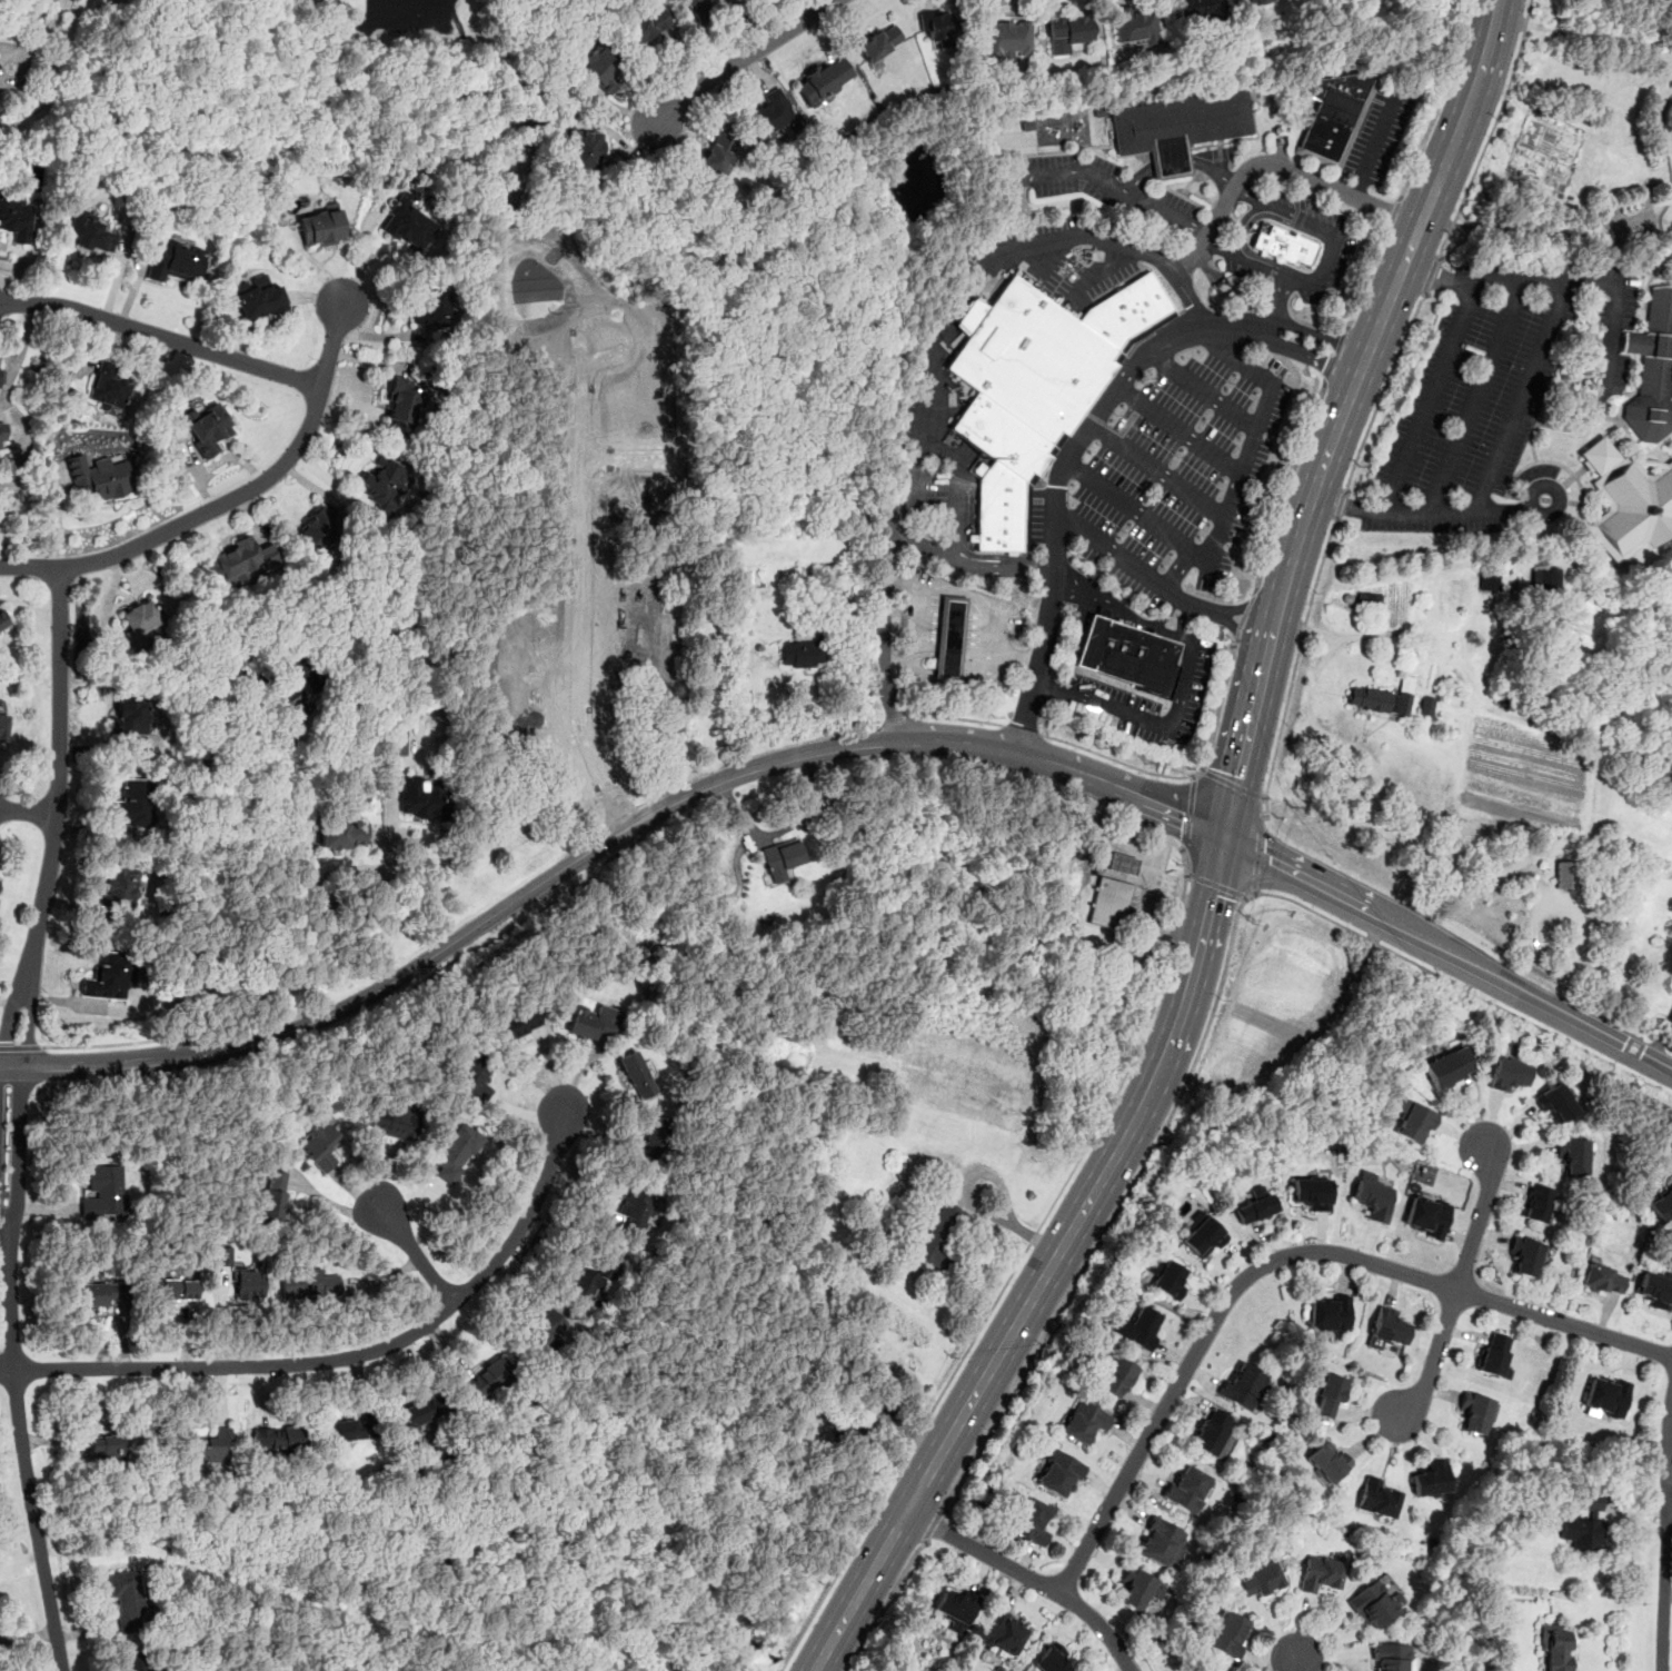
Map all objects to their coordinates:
building: (1253, 0)
building: (697, 8)
building: (1202, 9)
building: (645, 23)
building: (935, 26)
building: (1133, 26)
building: (1068, 31)
road: (46, 34)
building: (1006, 41)
building: (879, 42)
road: (737, 61)
building: (603, 66)
building: (824, 79)
road: (1440, 100)
building: (0, 107)
building: (1334, 110)
building: (772, 112)
building: (1183, 121)
road: (1491, 131)
road: (1375, 141)
building: (585, 149)
building: (718, 151)
road: (1177, 159)
building: (1172, 161)
road: (1277, 161)
road: (1076, 172)
road: (1026, 209)
road: (1394, 211)
road: (1165, 212)
building: (14, 218)
building: (408, 225)
building: (321, 227)
road: (1246, 229)
building: (88, 232)
building: (1283, 245)
building: (177, 262)
road: (1325, 263)
road: (1095, 271)
road: (1369, 276)
road: (1433, 276)
road: (1436, 276)
road: (1395, 285)
building: (261, 298)
road: (1274, 304)
building: (432, 307)
building: (1126, 310)
road: (1614, 310)
road: (1206, 324)
road: (1317, 334)
road: (162, 337)
road: (1336, 354)
road: (1308, 356)
building: (1029, 360)
building: (1652, 368)
road: (929, 370)
building: (1, 378)
building: (109, 387)
road: (1203, 390)
road: (1383, 390)
road: (1474, 397)
road: (1425, 398)
building: (402, 401)
road: (1519, 408)
building: (207, 427)
road: (1180, 430)
building: (2, 436)
road: (1252, 438)
building: (1055, 444)
road: (629, 458)
road: (1160, 469)
building: (1001, 475)
building: (99, 477)
building: (384, 484)
road: (1284, 484)
road: (957, 486)
road: (4, 490)
road: (9, 493)
road: (232, 498)
building: (1628, 500)
road: (1342, 504)
road: (1337, 505)
road: (1054, 506)
road: (1146, 520)
building: (317, 528)
road: (1106, 547)
building: (242, 560)
building: (1545, 577)
building: (1489, 581)
road: (587, 584)
road: (1172, 593)
road: (1261, 597)
building: (1367, 601)
road: (1107, 605)
road: (1202, 608)
road: (1175, 615)
road: (1241, 617)
building: (3, 619)
building: (140, 621)
road: (1274, 626)
road: (878, 634)
building: (949, 638)
road: (1247, 646)
building: (802, 653)
building: (1129, 654)
road: (1296, 657)
building: (303, 670)
building: (549, 686)
building: (289, 695)
building: (1382, 698)
building: (1426, 706)
building: (130, 713)
road: (1215, 713)
building: (2, 724)
road: (1157, 726)
building: (397, 740)
road: (1357, 752)
road: (1116, 759)
road: (1243, 759)
road: (1232, 782)
road: (686, 797)
building: (420, 799)
building: (135, 802)
road: (1264, 806)
road: (28, 810)
road: (1186, 812)
road: (203, 817)
road: (56, 819)
building: (341, 833)
traffic signals: (1224, 835)
road: (1257, 854)
building: (782, 858)
road: (1151, 861)
road: (1185, 862)
building: (1121, 863)
building: (349, 868)
building: (1566, 876)
building: (119, 886)
road: (1216, 886)
road: (384, 896)
road: (1181, 896)
building: (1109, 904)
gas station: (1109, 904)
road: (1172, 935)
road: (1447, 949)
road: (1400, 956)
building: (109, 975)
building: (593, 1022)
building: (517, 1023)
road: (107, 1044)
road: (21, 1047)
road: (1606, 1063)
road: (94, 1064)
building: (1447, 1067)
building: (1507, 1074)
building: (636, 1075)
building: (475, 1076)
building: (1555, 1102)
building: (1414, 1121)
building: (394, 1122)
building: (654, 1137)
building: (320, 1146)
building: (456, 1153)
building: (1573, 1154)
building: (1312, 1191)
building: (104, 1193)
building: (273, 1194)
building: (1373, 1195)
building: (1537, 1201)
road: (972, 1202)
building: (1256, 1205)
building: (1662, 1206)
road: (1118, 1210)
building: (635, 1211)
building: (1427, 1215)
road: (1477, 1219)
building: (939, 1235)
building: (1204, 1235)
road: (414, 1251)
building: (222, 1255)
building: (1525, 1255)
road: (1281, 1257)
road: (1049, 1265)
building: (1166, 1277)
building: (594, 1279)
building: (1601, 1279)
building: (248, 1283)
building: (309, 1283)
building: (175, 1289)
building: (1656, 1289)
building: (355, 1291)
building: (101, 1293)
building: (1328, 1314)
road: (985, 1317)
building: (1139, 1327)
building: (1386, 1327)
building: (545, 1329)
road: (357, 1354)
road: (1434, 1354)
building: (1494, 1357)
road: (7, 1371)
road: (13, 1371)
building: (1118, 1376)
building: (487, 1377)
building: (1243, 1385)
building: (1327, 1394)
building: (1606, 1394)
building: (422, 1410)
building: (1474, 1411)
building: (1084, 1420)
building: (351, 1429)
building: (1210, 1431)
building: (279, 1436)
building: (106, 1445)
building: (211, 1445)
building: (1327, 1461)
building: (1059, 1472)
building: (1431, 1479)
building: (1186, 1488)
building: (1376, 1498)
building: (1031, 1522)
building: (1585, 1523)
road: (934, 1525)
road: (1665, 1535)
building: (1162, 1541)
building: (1318, 1573)
road: (1031, 1576)
building: (1260, 1580)
building: (1137, 1587)
building: (127, 1598)
building: (1374, 1603)
road: (885, 1605)
building: (956, 1609)
building: (1002, 1632)
building: (1226, 1633)
building: (1555, 1645)
building: (1391, 1655)
building: (1053, 1659)
building: (133, 1660)
road: (1292, 1664)
building: (1202, 1669)

